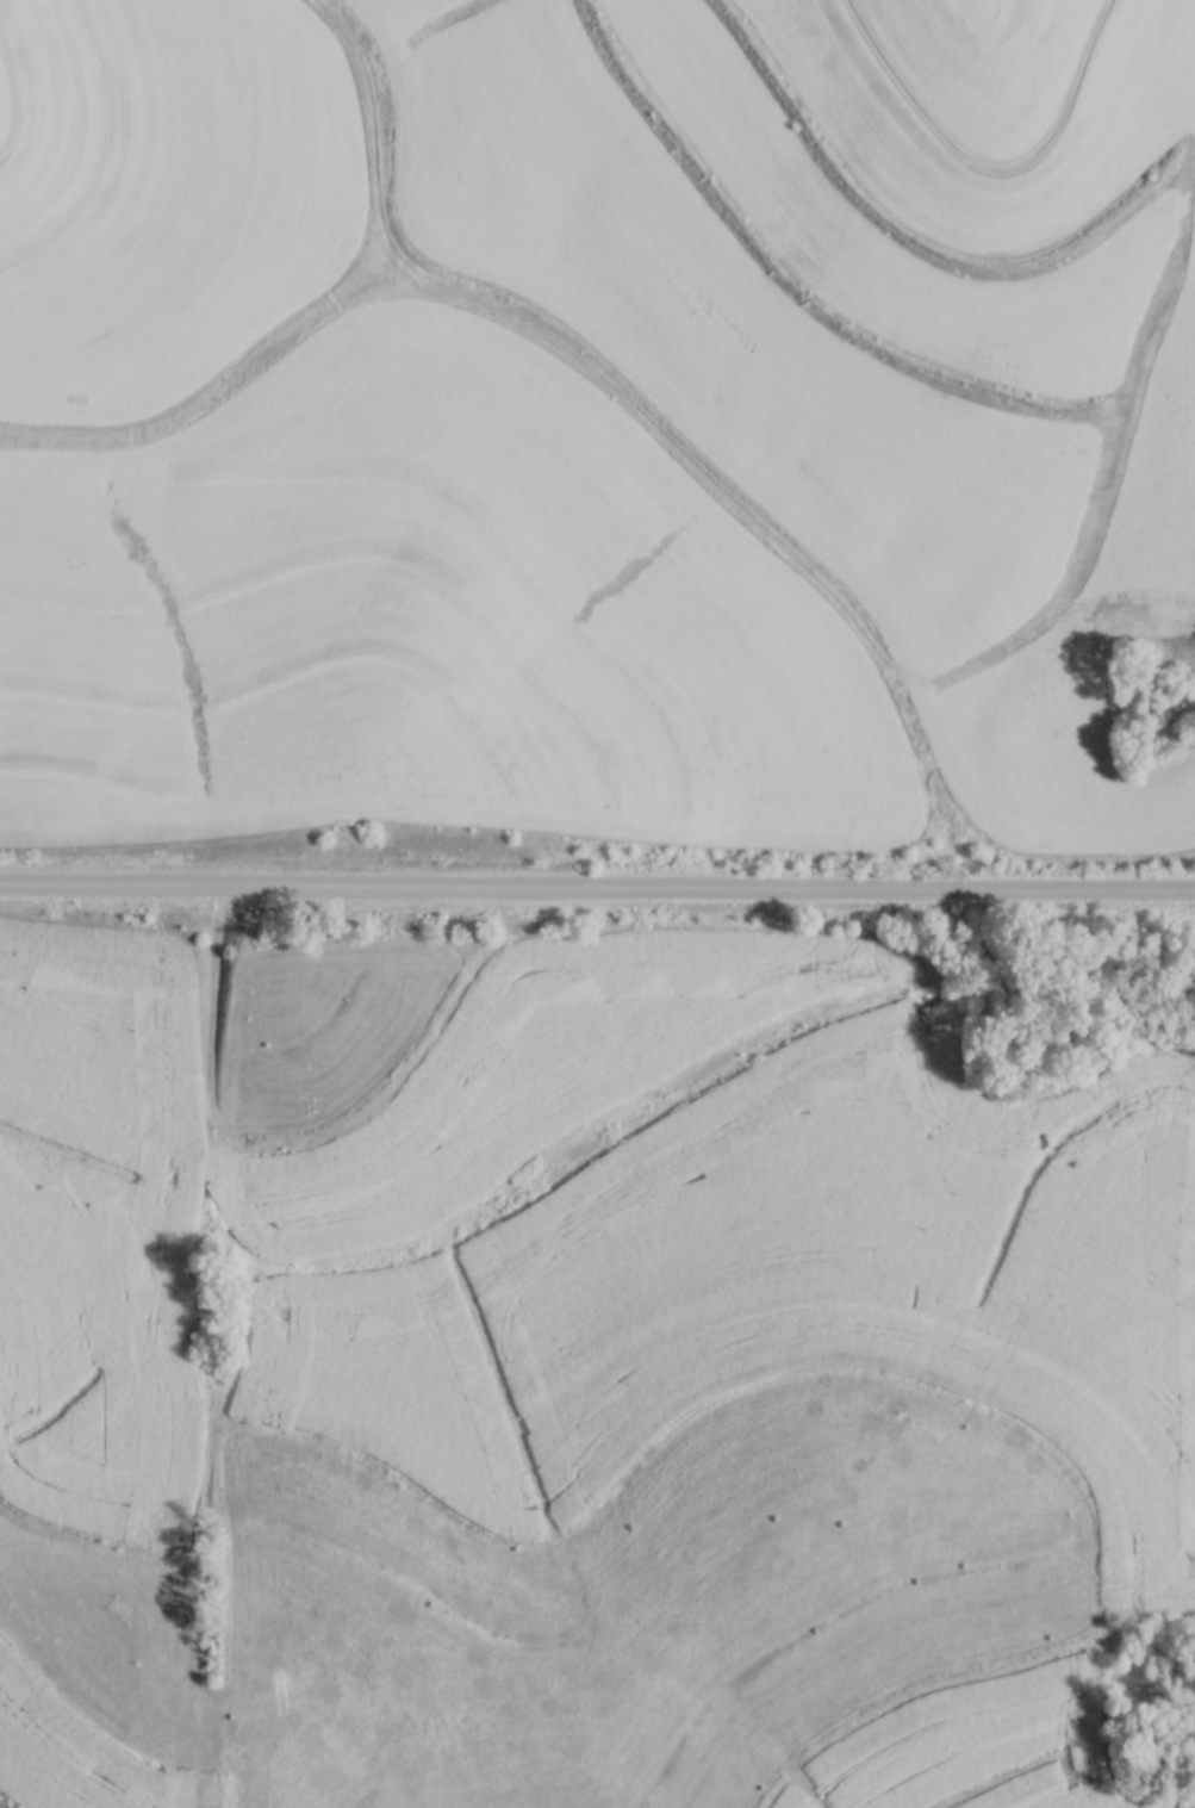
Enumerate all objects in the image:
road: (597, 882)

